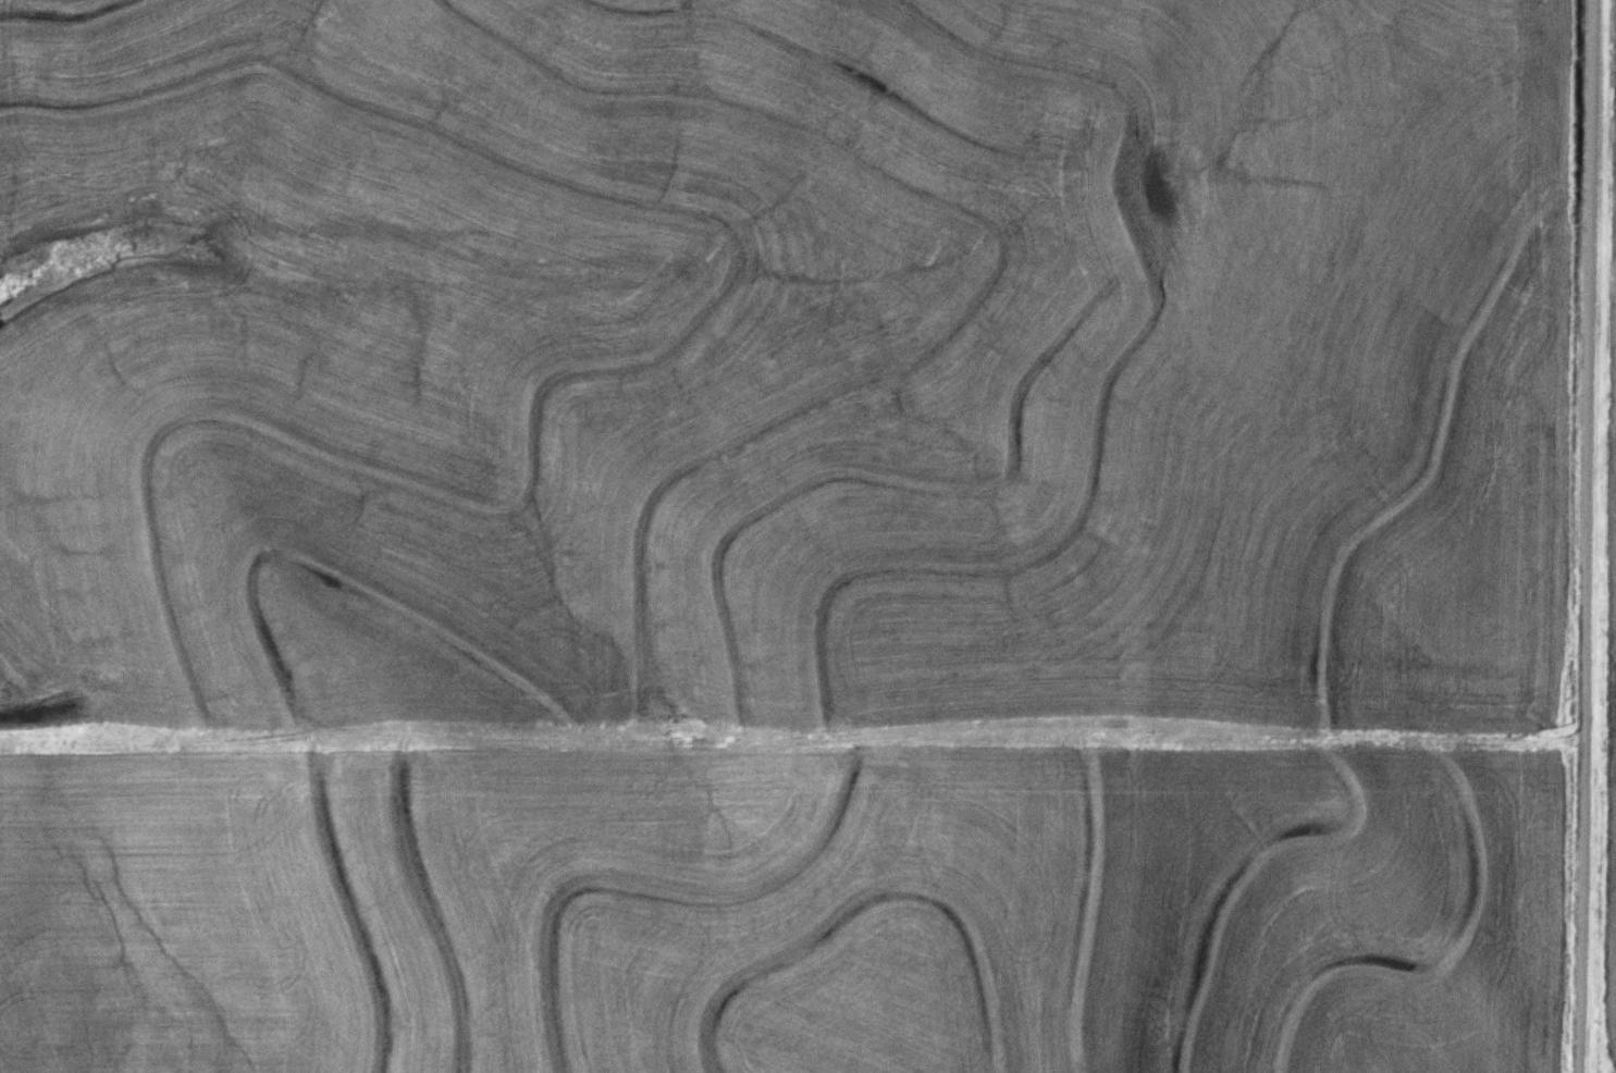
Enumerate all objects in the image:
road: (1587, 536)

